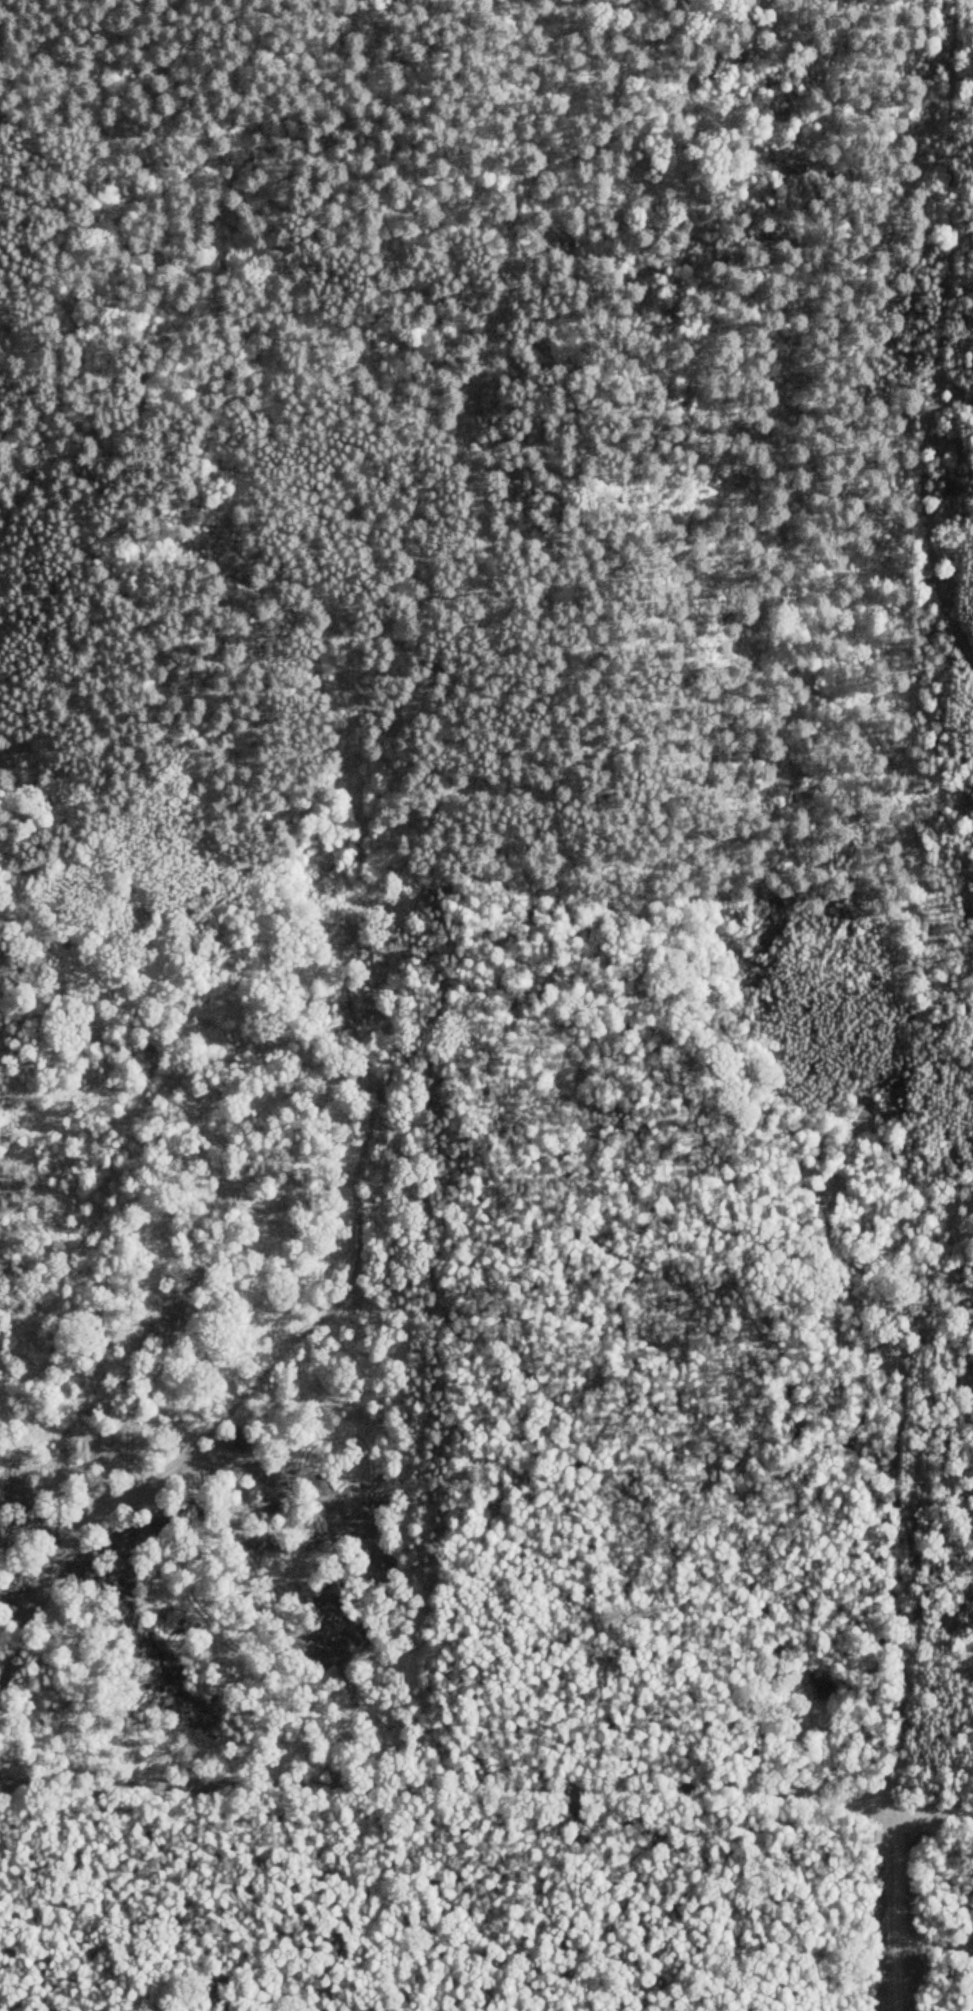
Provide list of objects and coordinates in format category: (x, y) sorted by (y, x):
road: (447, 1789)
road: (933, 1809)
park: (487, 1889)
road: (894, 1910)
road: (934, 1939)

